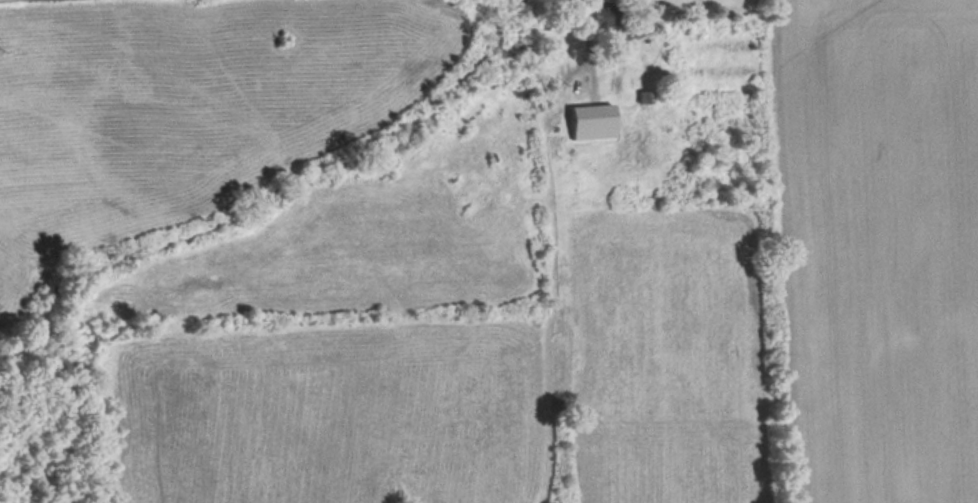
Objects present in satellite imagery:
building: (608, 16)
building: (595, 122)

